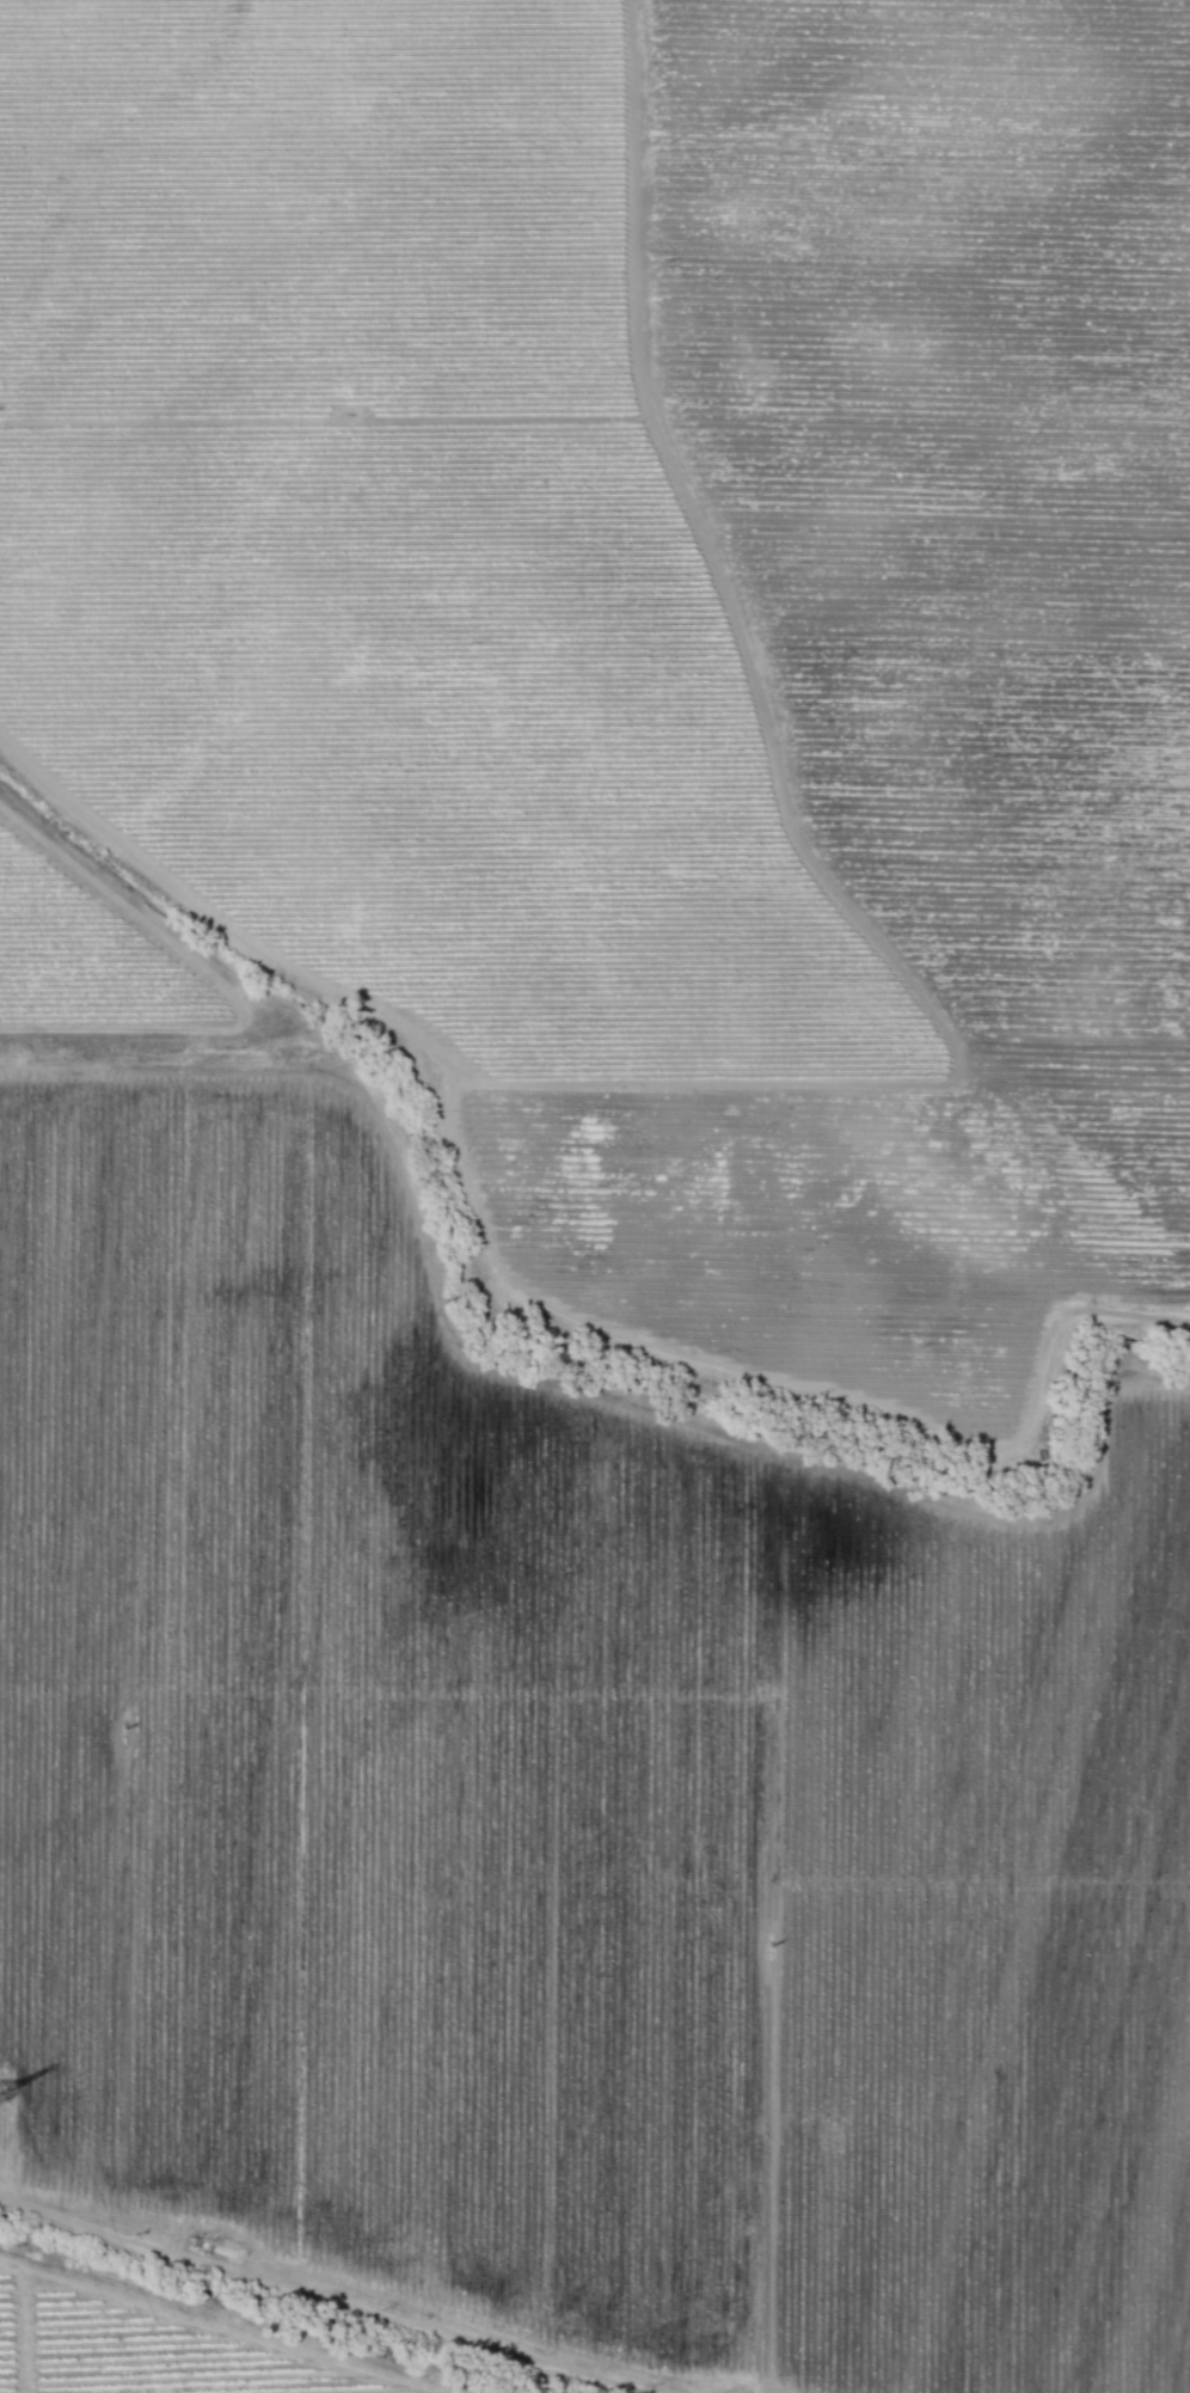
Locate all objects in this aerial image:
road: (989, 1295)
road: (849, 2128)
road: (327, 2302)

